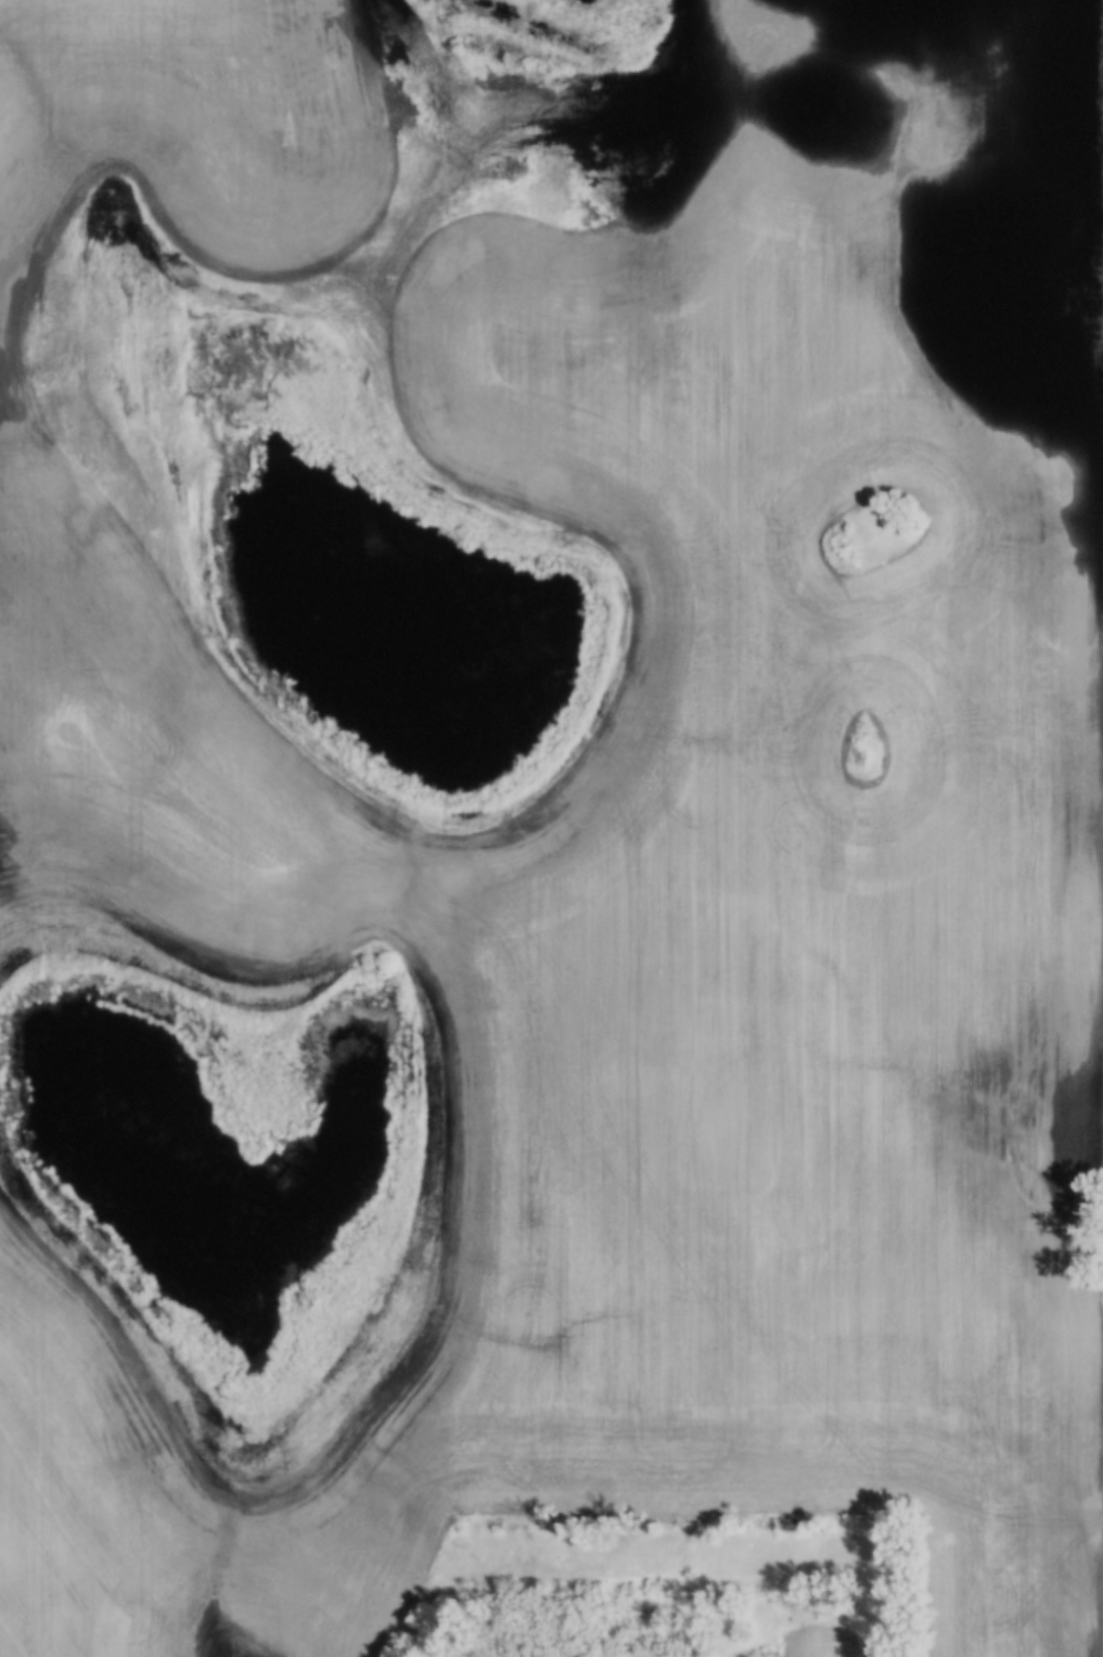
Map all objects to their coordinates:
building: (765, 1654)

